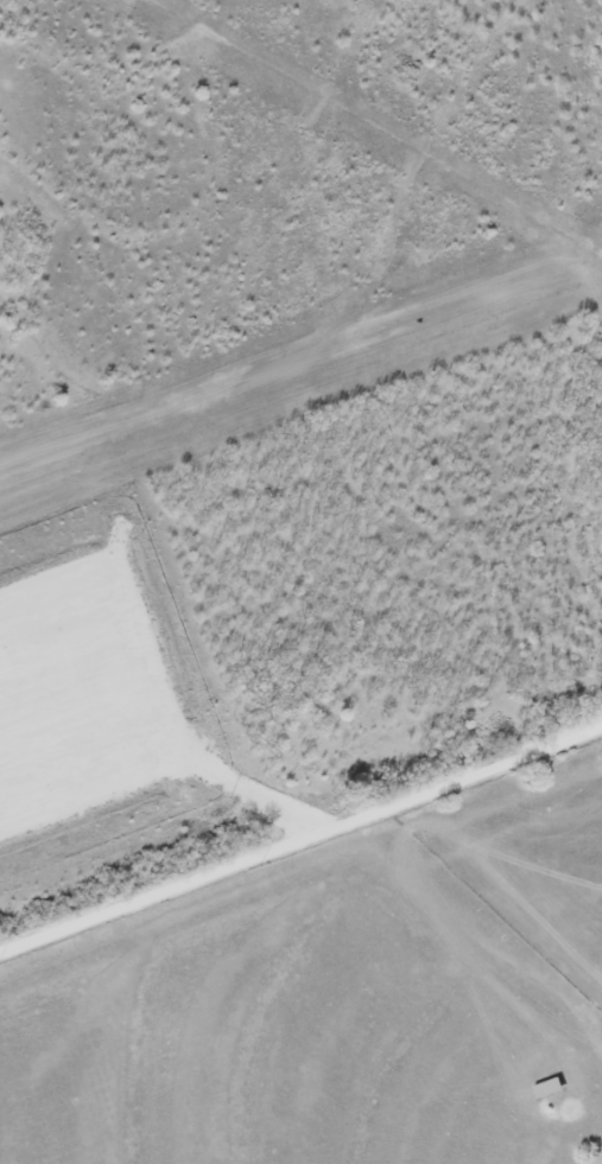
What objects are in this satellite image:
road: (300, 845)

